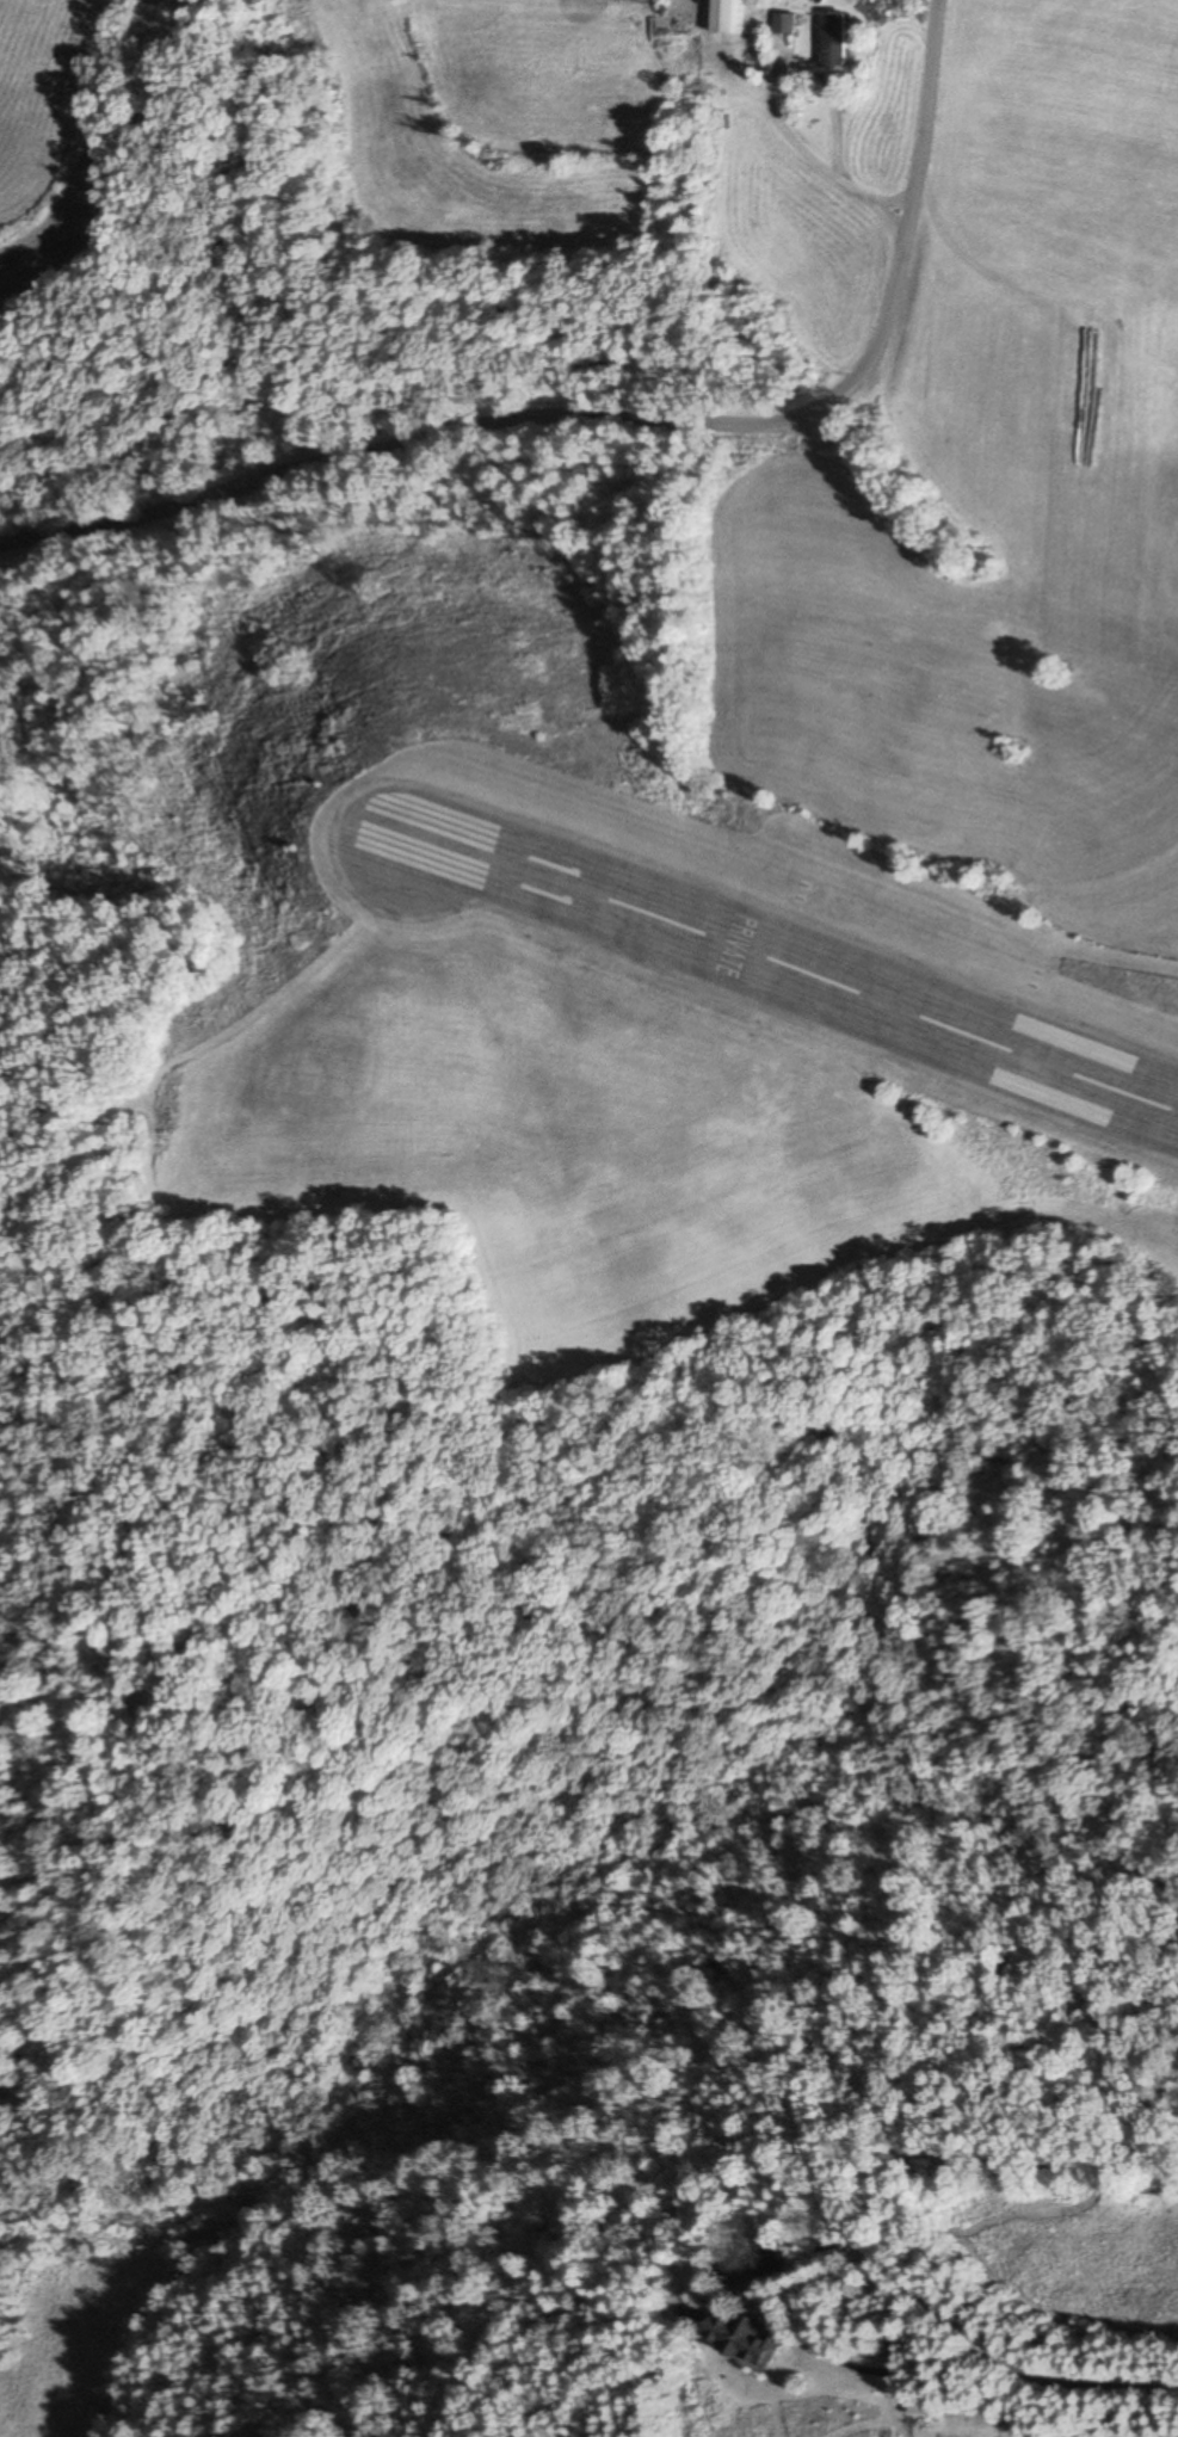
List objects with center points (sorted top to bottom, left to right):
building: (724, 18)
building: (784, 24)
building: (833, 39)
road: (605, 448)
airport runway: (781, 965)
building: (746, 2337)

